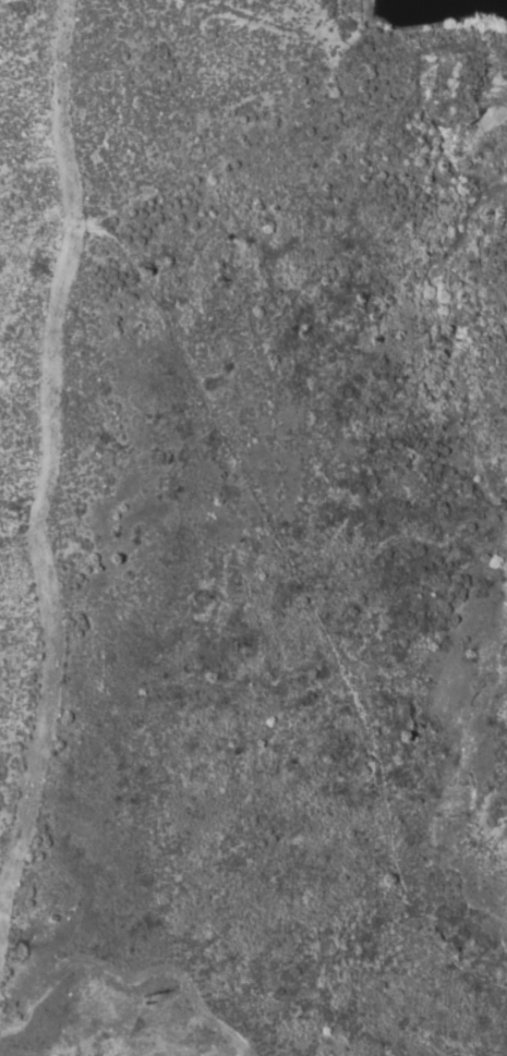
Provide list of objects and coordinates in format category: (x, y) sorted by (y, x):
road: (55, 105)
road: (298, 600)

